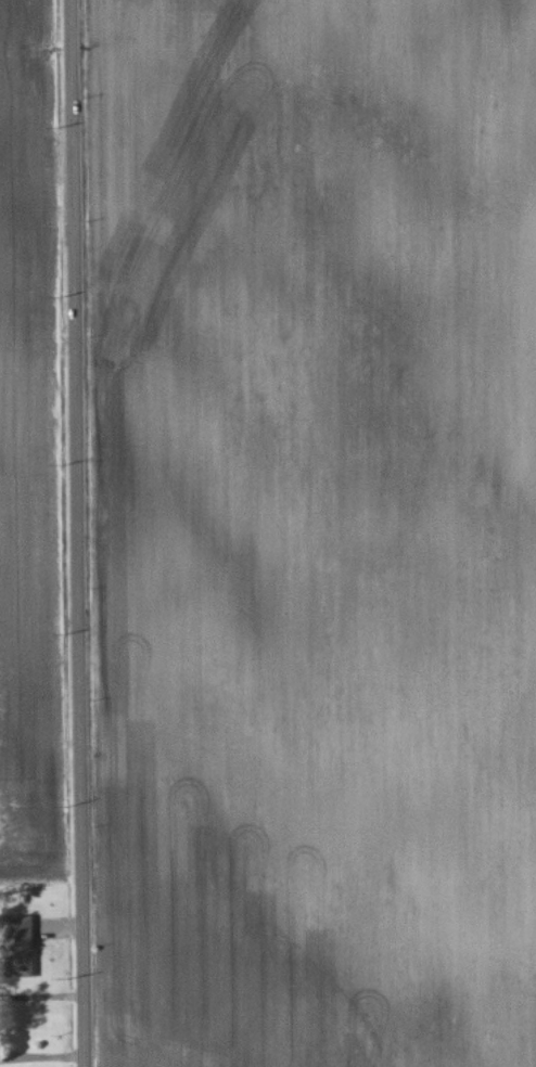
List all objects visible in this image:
road: (80, 533)
building: (31, 947)

